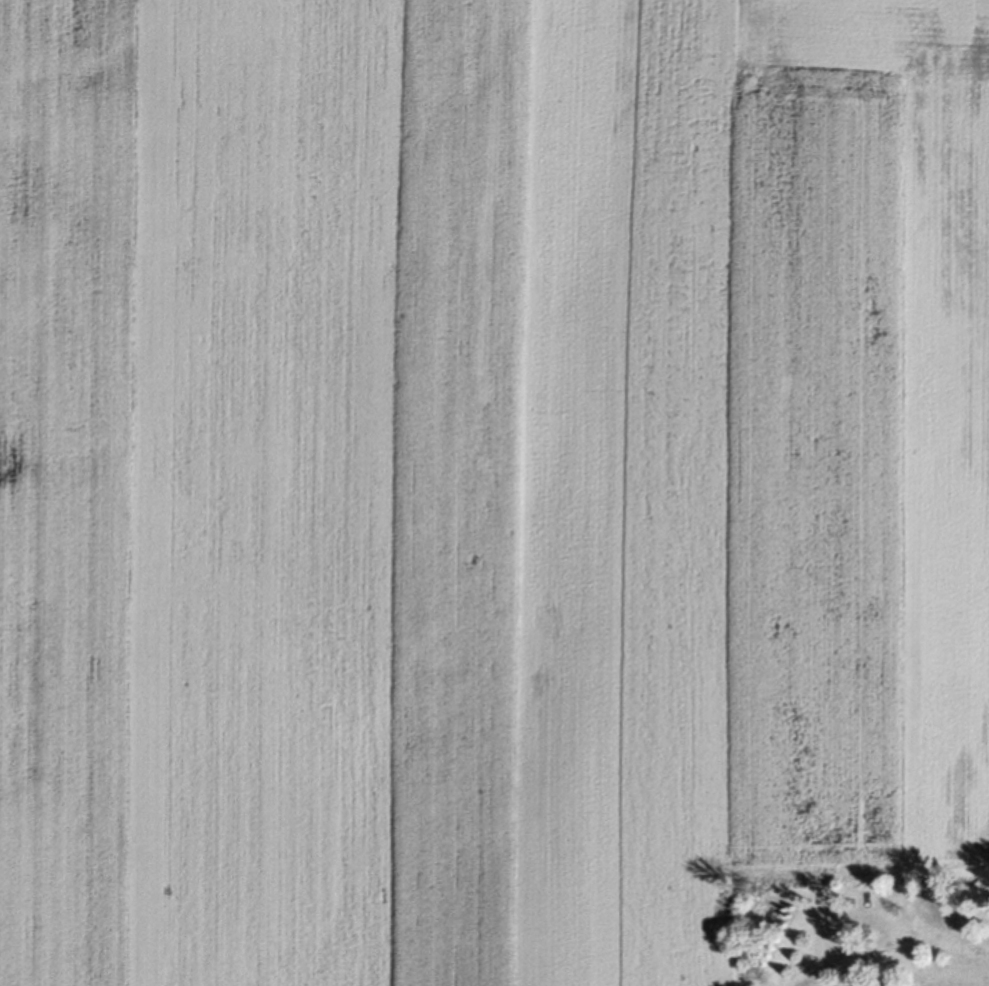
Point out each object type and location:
building: (879, 985)

